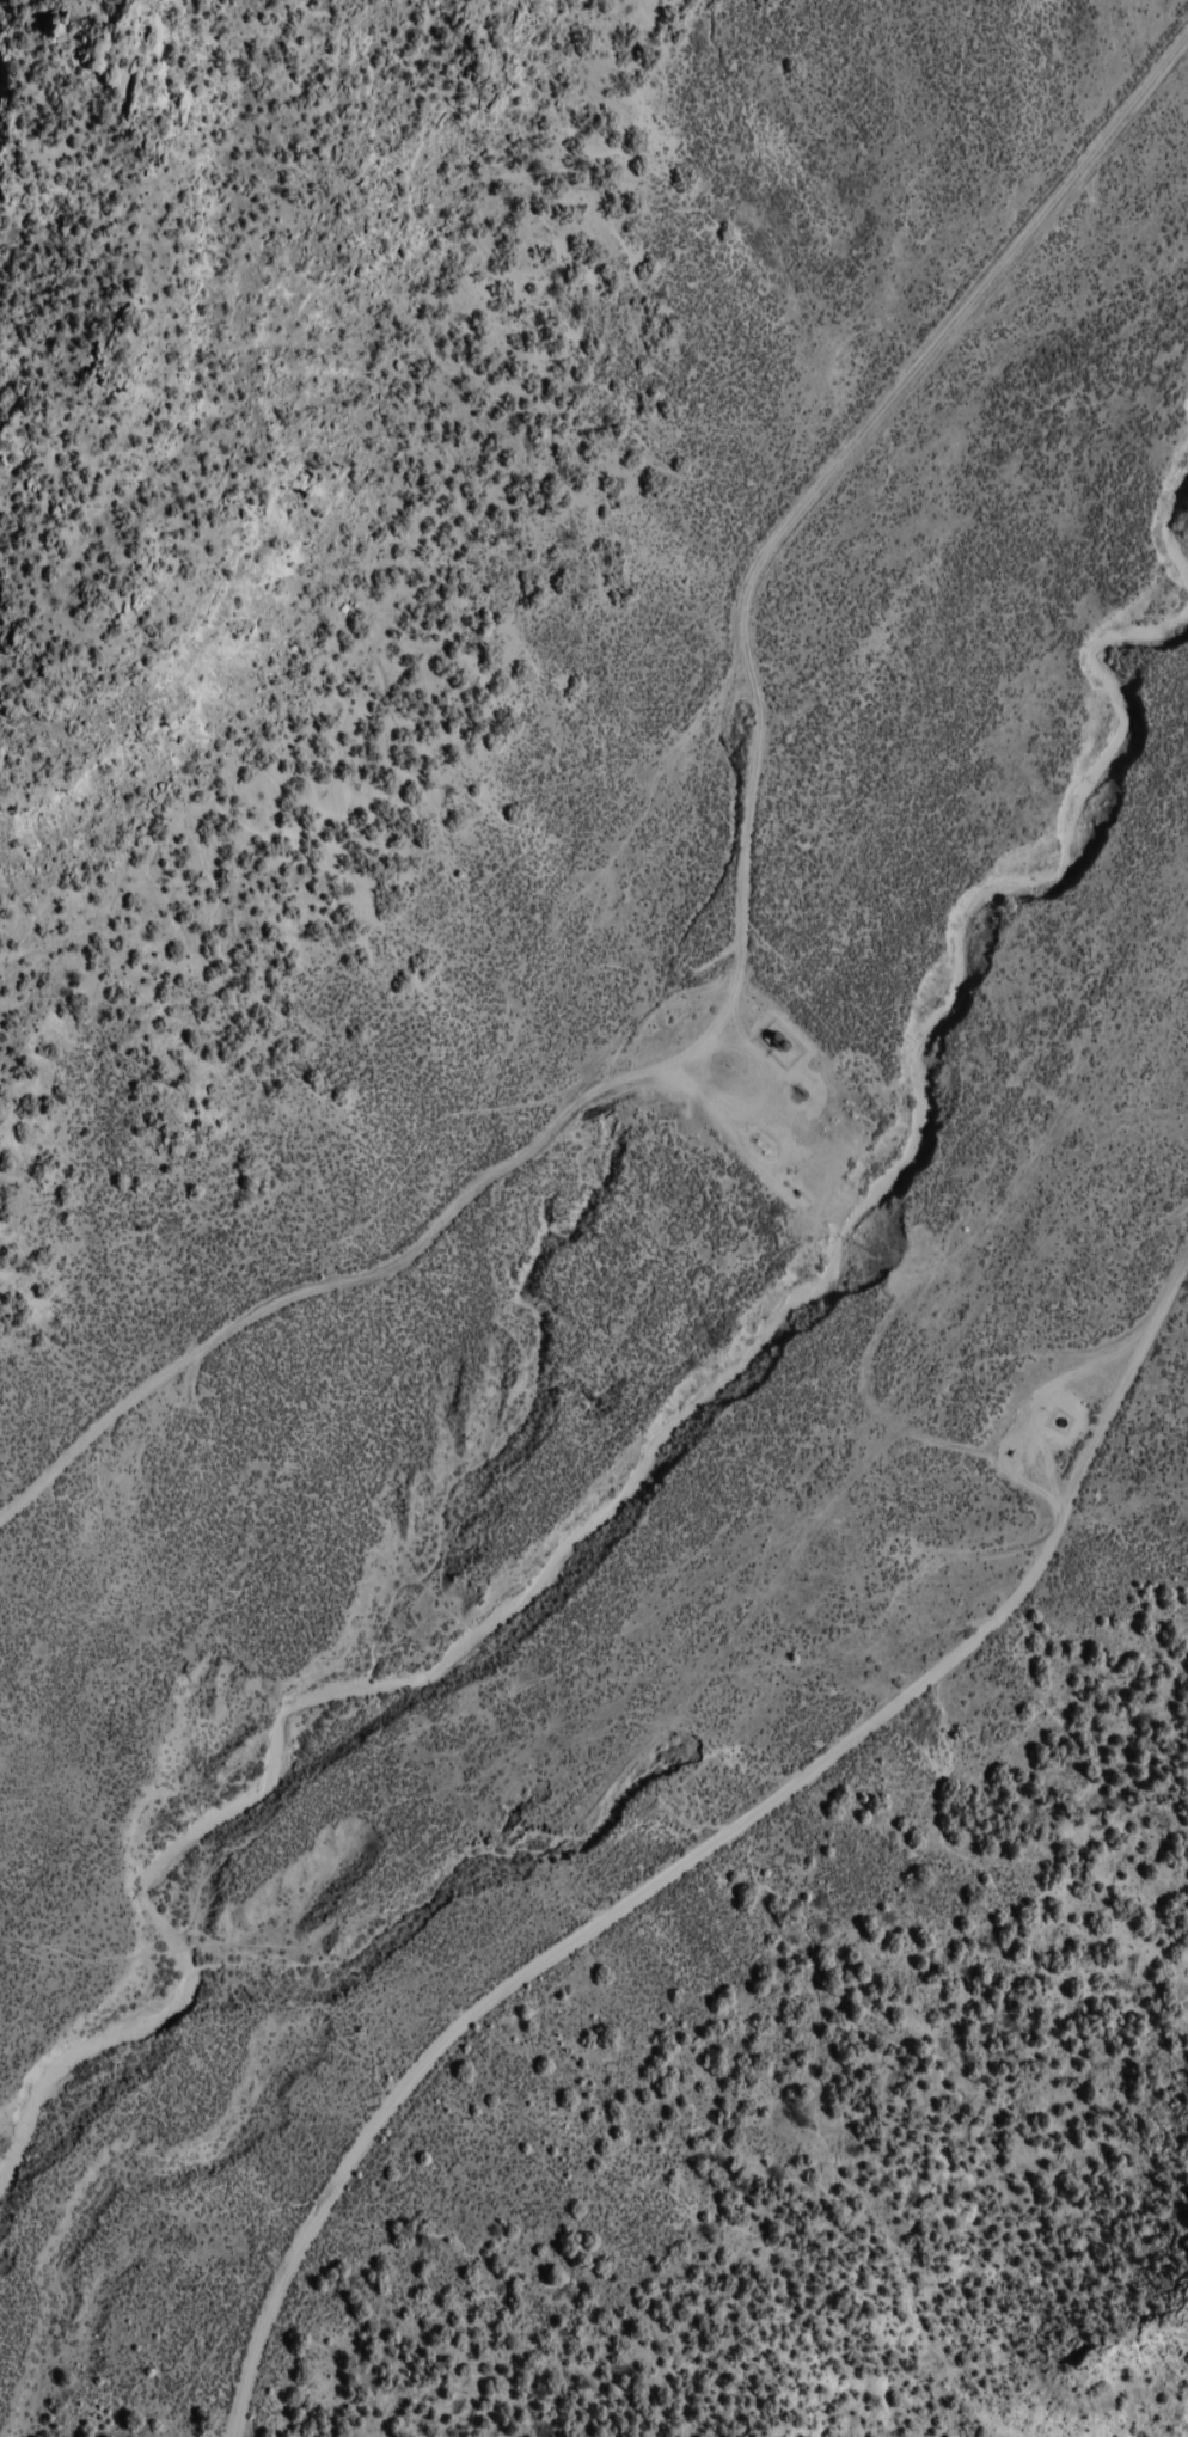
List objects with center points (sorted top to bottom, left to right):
road: (687, 1863)

